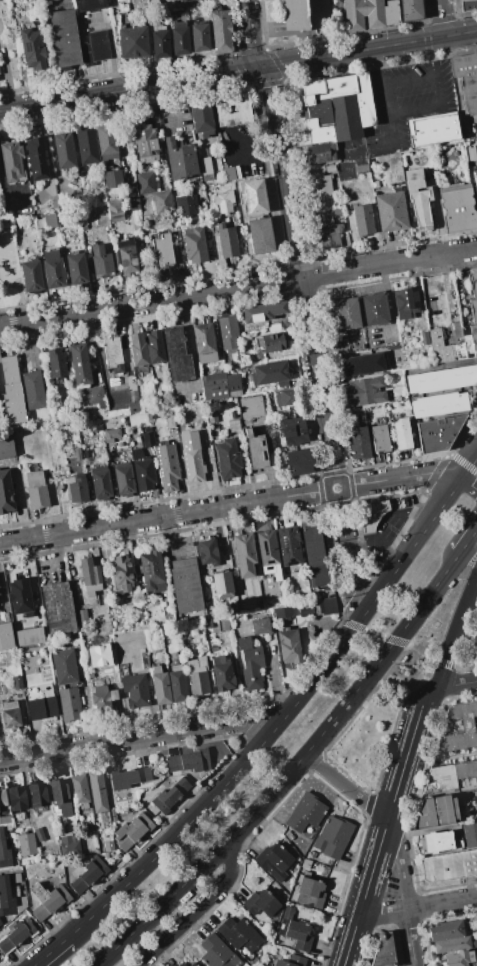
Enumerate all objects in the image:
building: (183, 0)
building: (92, 4)
building: (468, 5)
building: (410, 10)
building: (391, 13)
building: (305, 14)
building: (363, 14)
road: (441, 18)
building: (221, 31)
road: (248, 35)
building: (200, 37)
building: (65, 38)
building: (180, 38)
building: (133, 42)
building: (159, 44)
building: (95, 47)
building: (32, 49)
road: (112, 52)
road: (238, 71)
road: (411, 80)
building: (467, 80)
road: (439, 97)
road: (387, 99)
parking lot: (407, 102)
road: (168, 107)
building: (338, 107)
building: (233, 112)
building: (202, 120)
building: (433, 131)
road: (253, 139)
building: (106, 143)
building: (146, 144)
building: (87, 146)
building: (63, 150)
building: (320, 153)
building: (36, 158)
building: (12, 161)
building: (182, 161)
building: (207, 168)
building: (227, 169)
building: (349, 170)
building: (81, 172)
building: (394, 172)
building: (475, 177)
building: (113, 179)
building: (413, 179)
building: (145, 183)
building: (321, 187)
road: (3, 191)
building: (253, 196)
building: (133, 201)
building: (224, 202)
building: (163, 203)
building: (186, 204)
building: (457, 207)
building: (420, 209)
building: (391, 210)
building: (115, 211)
building: (334, 211)
building: (362, 219)
building: (49, 220)
building: (186, 231)
building: (329, 235)
building: (260, 236)
building: (228, 243)
building: (195, 245)
building: (162, 251)
building: (127, 255)
building: (101, 263)
park: (9, 267)
building: (76, 268)
building: (53, 270)
building: (32, 276)
building: (427, 283)
road: (238, 287)
building: (473, 294)
building: (405, 303)
building: (374, 309)
building: (263, 312)
building: (346, 313)
road: (310, 330)
building: (228, 334)
building: (424, 338)
building: (271, 341)
road: (30, 342)
building: (204, 343)
building: (453, 345)
building: (155, 347)
building: (138, 349)
building: (111, 352)
building: (177, 354)
building: (56, 363)
building: (79, 364)
building: (361, 364)
building: (8, 369)
building: (271, 373)
building: (397, 373)
building: (441, 379)
building: (233, 385)
building: (215, 387)
building: (33, 390)
building: (365, 392)
building: (96, 397)
building: (285, 398)
building: (401, 399)
building: (13, 403)
building: (439, 404)
building: (133, 408)
building: (250, 408)
building: (360, 413)
building: (212, 417)
building: (170, 419)
building: (233, 426)
road: (462, 428)
building: (293, 431)
building: (438, 433)
building: (111, 434)
building: (401, 434)
building: (380, 438)
building: (148, 439)
building: (359, 443)
building: (6, 447)
building: (256, 449)
building: (76, 453)
building: (137, 453)
building: (191, 457)
building: (227, 459)
building: (298, 460)
road: (462, 462)
road: (468, 466)
building: (167, 467)
road: (435, 471)
building: (144, 475)
building: (124, 481)
building: (101, 484)
road: (468, 485)
building: (35, 487)
building: (77, 488)
building: (5, 492)
road: (230, 506)
building: (370, 515)
road: (396, 535)
road: (168, 536)
road: (377, 538)
road: (467, 539)
building: (288, 545)
building: (207, 552)
road: (407, 552)
building: (269, 554)
building: (316, 555)
building: (245, 556)
building: (151, 570)
building: (90, 576)
building: (121, 578)
building: (185, 585)
building: (223, 586)
road: (355, 595)
road: (426, 597)
building: (20, 598)
building: (319, 607)
building: (59, 609)
road: (356, 609)
building: (283, 613)
building: (82, 616)
road: (342, 616)
building: (207, 623)
building: (223, 624)
road: (352, 625)
road: (361, 625)
building: (260, 626)
road: (456, 629)
road: (373, 633)
building: (6, 636)
building: (29, 637)
road: (394, 640)
road: (465, 642)
building: (475, 643)
building: (288, 646)
road: (429, 656)
building: (145, 660)
road: (442, 662)
building: (250, 663)
road: (454, 666)
building: (64, 667)
building: (176, 667)
road: (425, 668)
building: (156, 669)
building: (222, 673)
building: (197, 676)
road: (452, 677)
building: (17, 682)
road: (456, 683)
building: (177, 686)
building: (161, 689)
building: (134, 691)
road: (427, 694)
building: (102, 697)
park: (394, 697)
building: (69, 704)
building: (41, 708)
building: (10, 715)
building: (458, 727)
road: (139, 738)
building: (190, 762)
road: (403, 762)
building: (129, 777)
building: (451, 778)
road: (345, 786)
building: (79, 790)
road: (221, 792)
building: (98, 795)
building: (37, 796)
building: (170, 796)
building: (60, 797)
building: (3, 798)
building: (17, 801)
road: (253, 811)
building: (435, 811)
building: (306, 814)
building: (5, 819)
building: (8, 827)
building: (135, 830)
building: (39, 834)
building: (91, 834)
building: (470, 835)
building: (332, 837)
building: (440, 842)
building: (26, 844)
building: (69, 846)
building: (108, 846)
building: (4, 852)
building: (270, 857)
road: (401, 863)
building: (449, 866)
road: (372, 868)
building: (88, 874)
building: (15, 878)
building: (309, 893)
building: (6, 898)
building: (48, 900)
building: (260, 902)
road: (441, 903)
building: (20, 904)
road: (199, 909)
road: (381, 913)
building: (0, 923)
building: (445, 929)
building: (295, 931)
building: (17, 934)
building: (238, 934)
road: (409, 938)
road: (350, 941)
building: (453, 944)
road: (49, 951)
building: (383, 951)
building: (217, 952)
building: (475, 957)
building: (460, 959)
building: (291, 961)
building: (182, 964)
building: (191, 964)
building: (194, 964)

